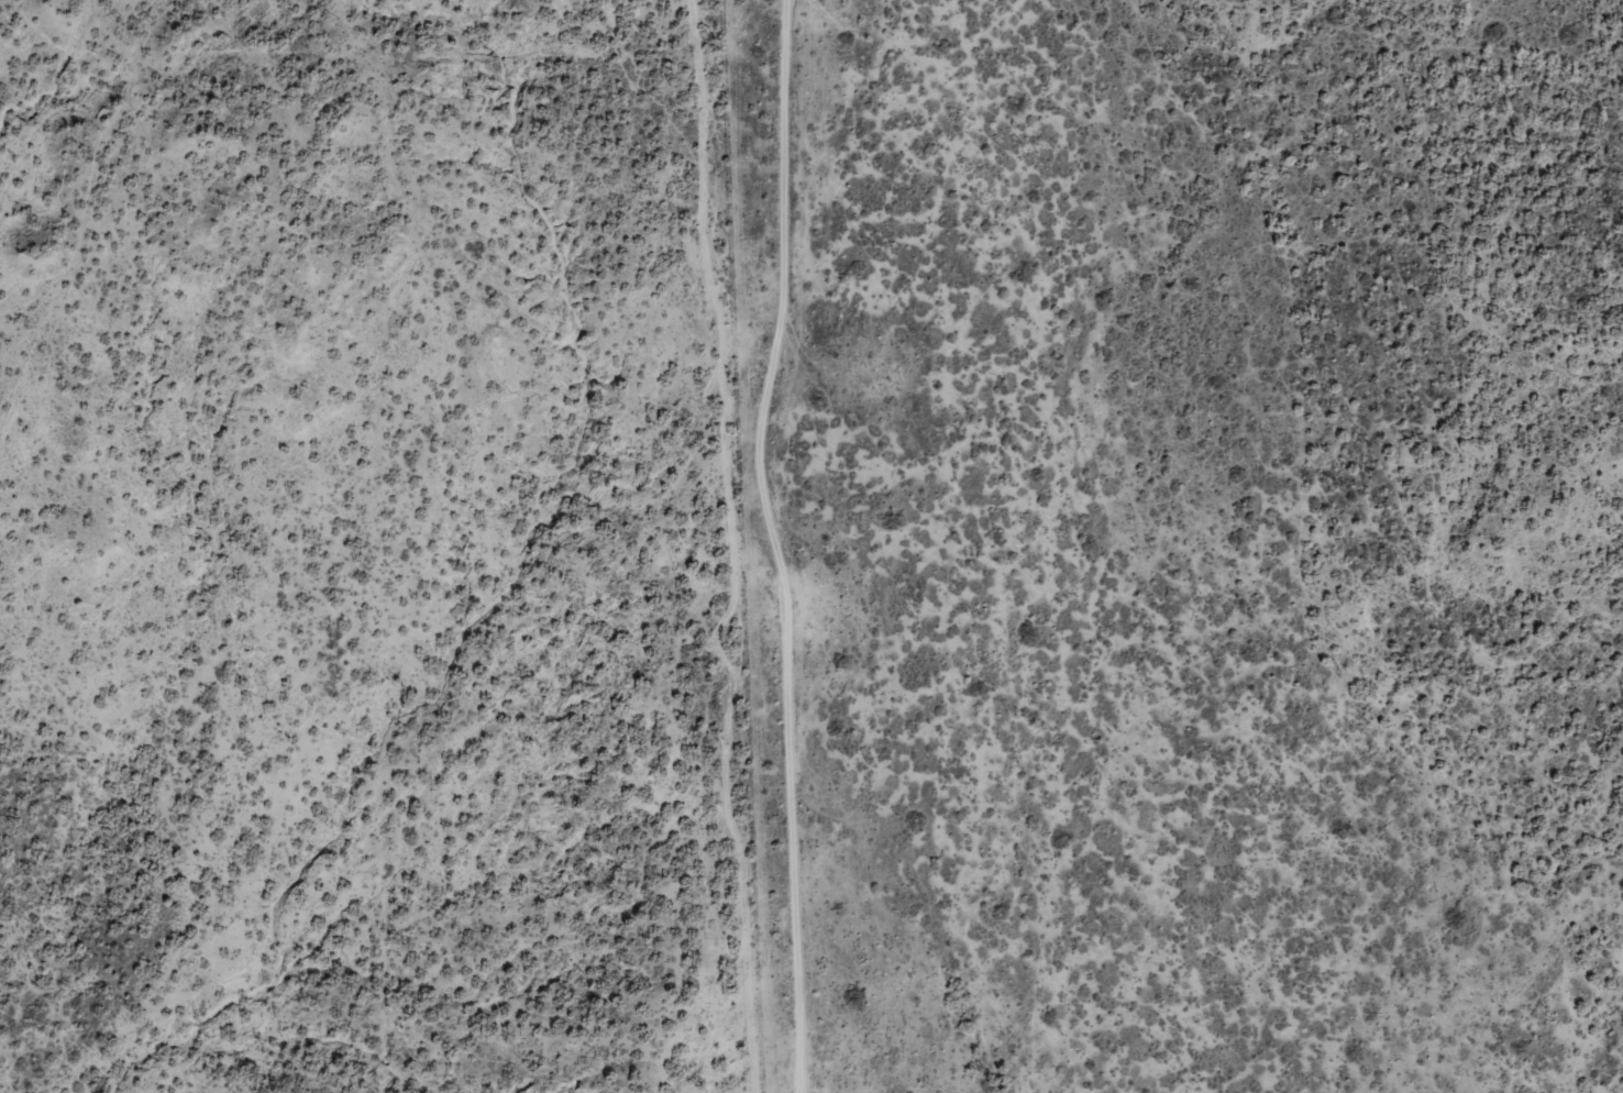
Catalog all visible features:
road: (766, 546)

